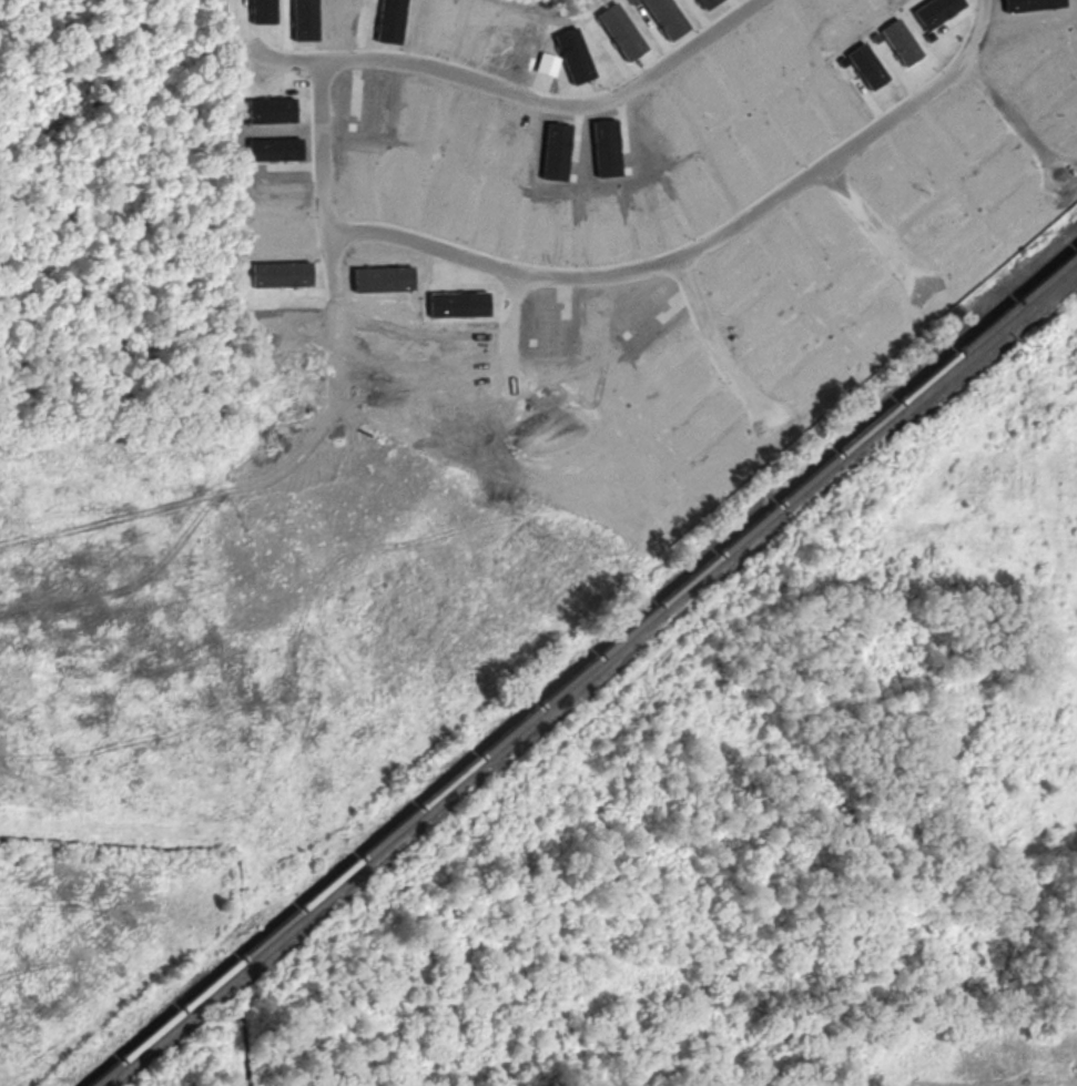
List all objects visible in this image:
building: (707, 3)
building: (1033, 4)
building: (936, 10)
building: (262, 11)
building: (665, 17)
building: (304, 20)
building: (389, 21)
building: (621, 31)
building: (900, 41)
building: (573, 55)
road: (286, 58)
building: (866, 65)
building: (271, 110)
road: (1014, 113)
building: (606, 148)
building: (274, 149)
building: (556, 151)
road: (392, 235)
building: (281, 274)
building: (383, 278)
building: (458, 304)
railway: (586, 670)

